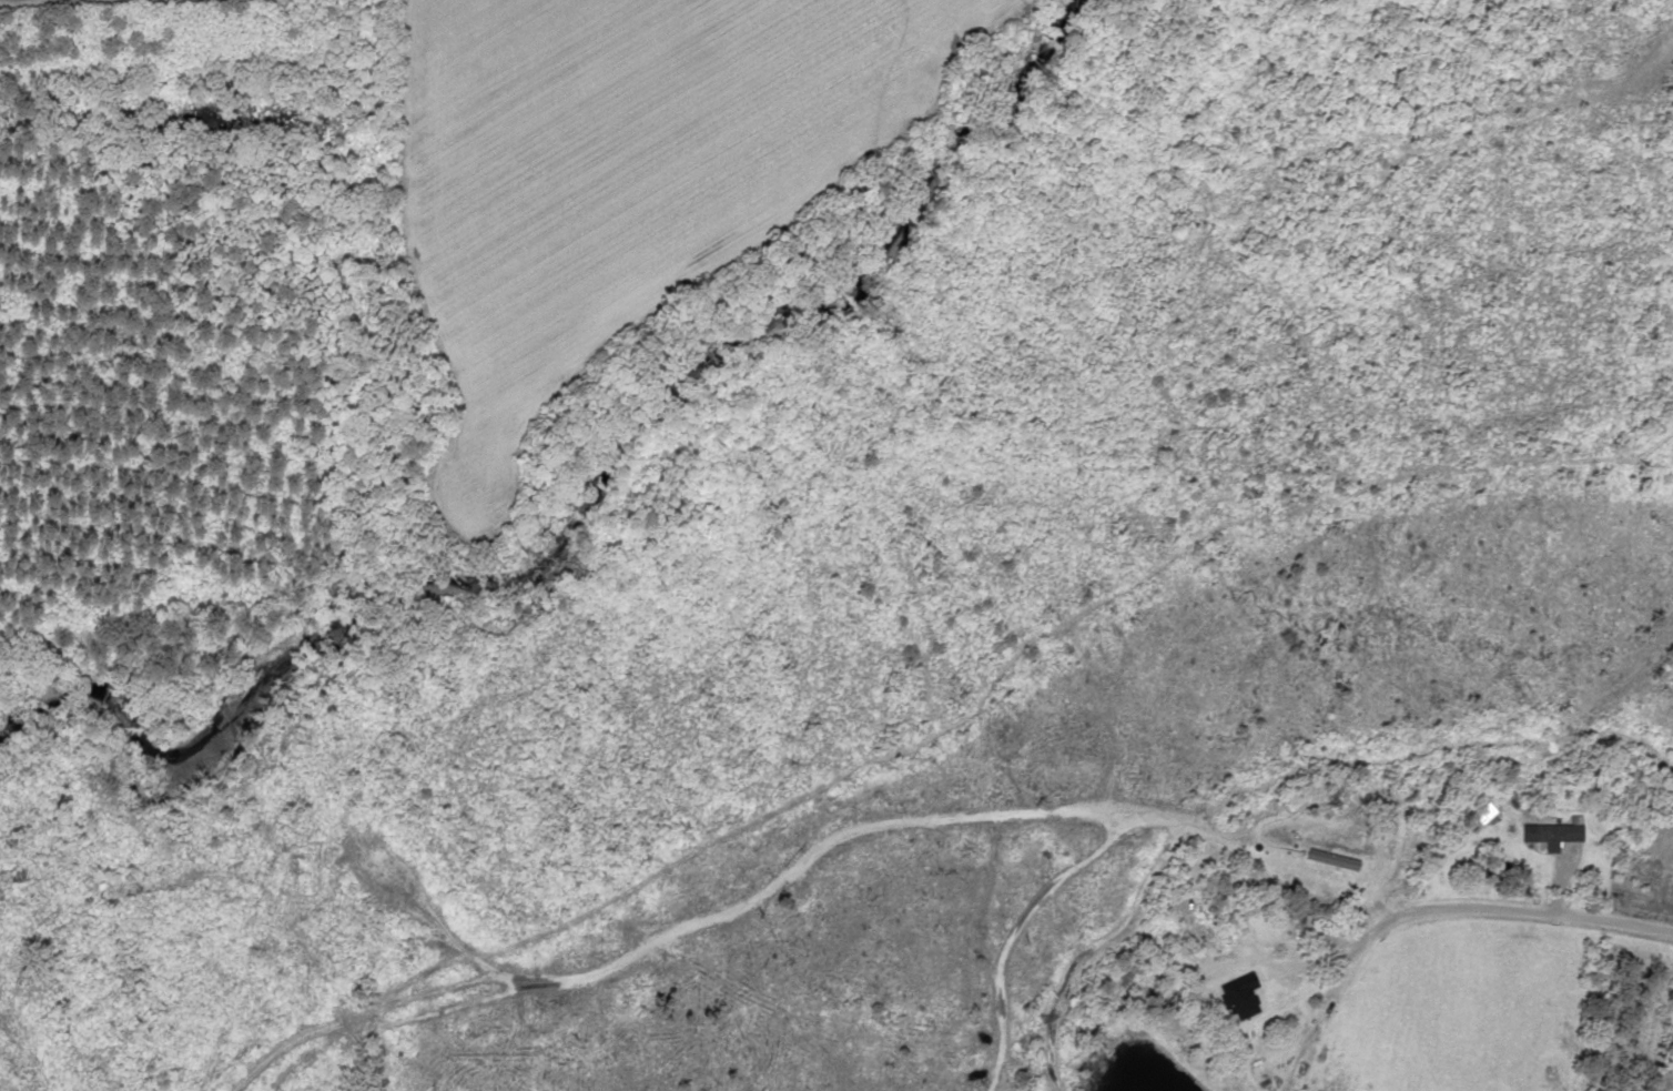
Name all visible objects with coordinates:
building: (1544, 837)
road: (1493, 912)
building: (1243, 1010)

